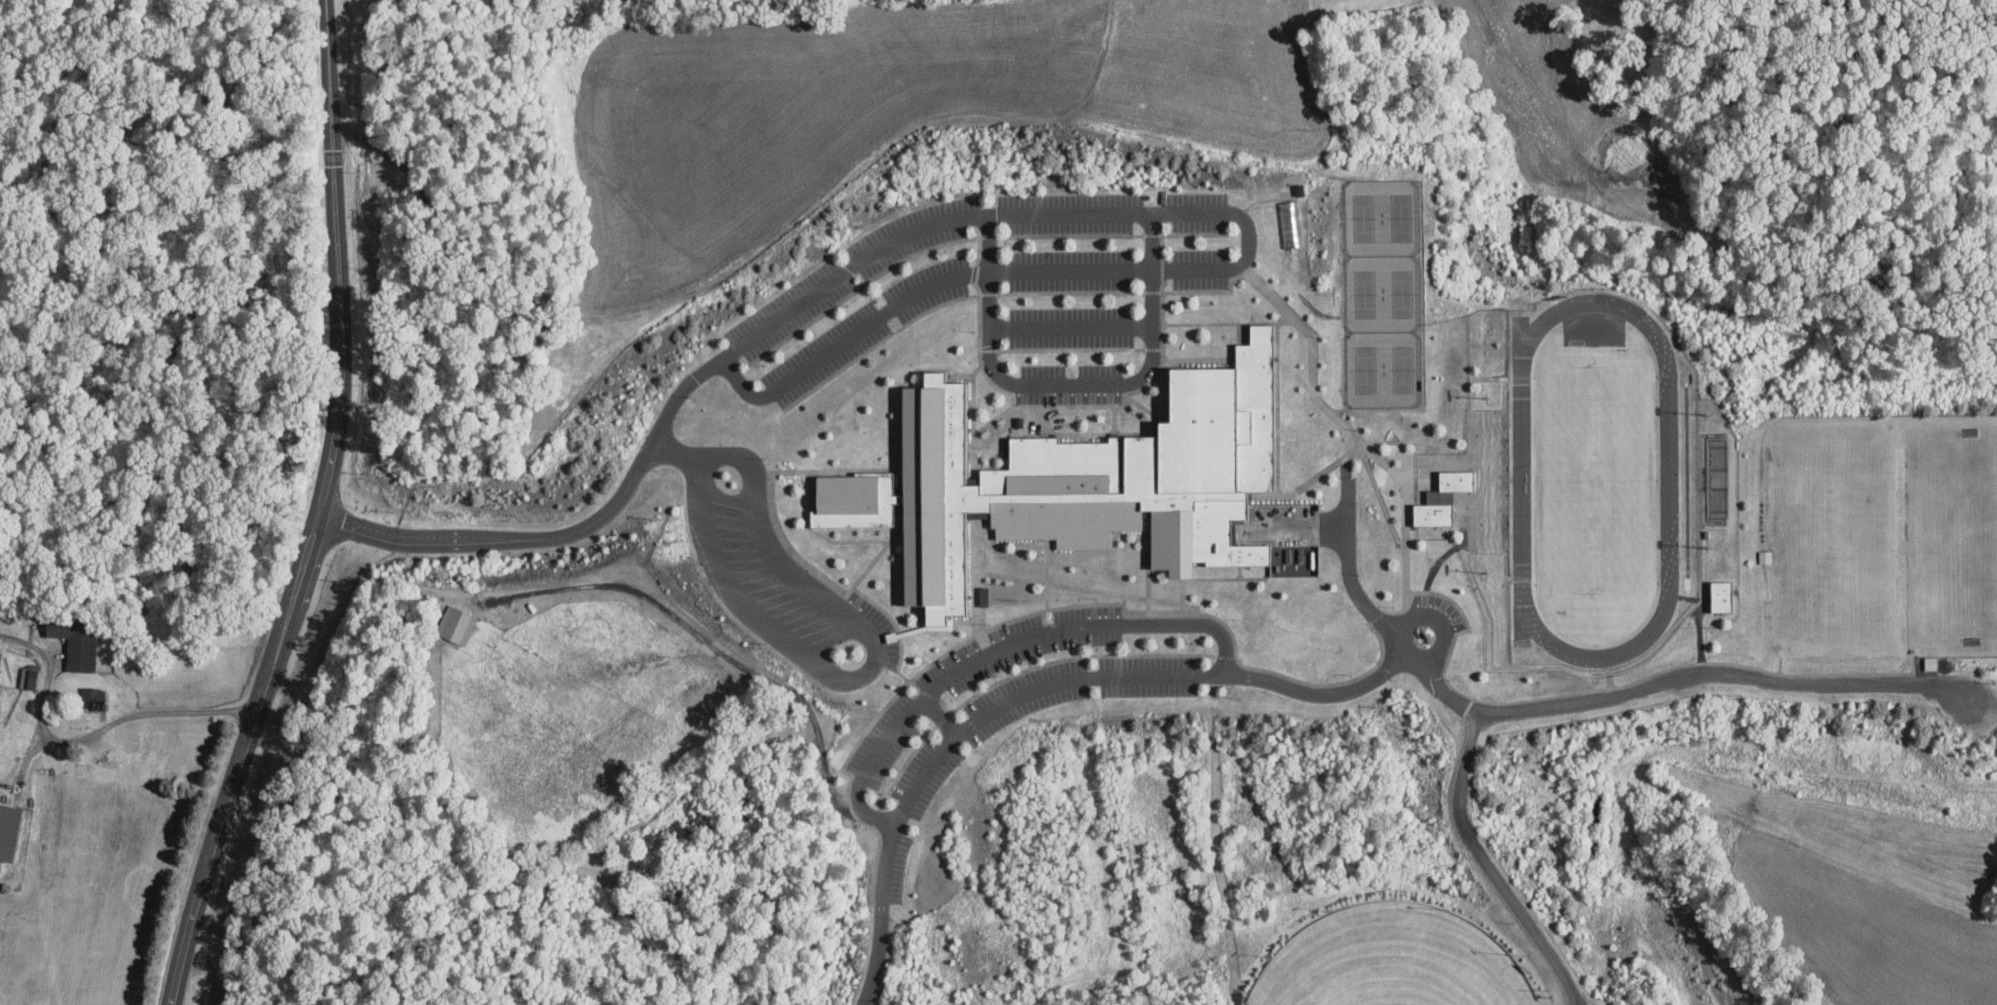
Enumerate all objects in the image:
road: (1027, 214)
building: (1289, 222)
park: (1382, 293)
road: (1069, 327)
road: (1310, 379)
road: (1070, 383)
building: (1096, 480)
park: (1595, 480)
building: (1441, 498)
road: (318, 512)
park: (1883, 533)
road: (1406, 555)
building: (1765, 556)
road: (1702, 574)
building: (1720, 595)
building: (455, 624)
building: (75, 643)
road: (872, 646)
road: (1002, 646)
building: (1930, 662)
road: (900, 674)
building: (30, 675)
road: (1038, 689)
building: (92, 697)
road: (1587, 700)
road: (146, 712)
road: (940, 717)
building: (7, 830)
road: (1488, 865)
park: (1391, 962)

